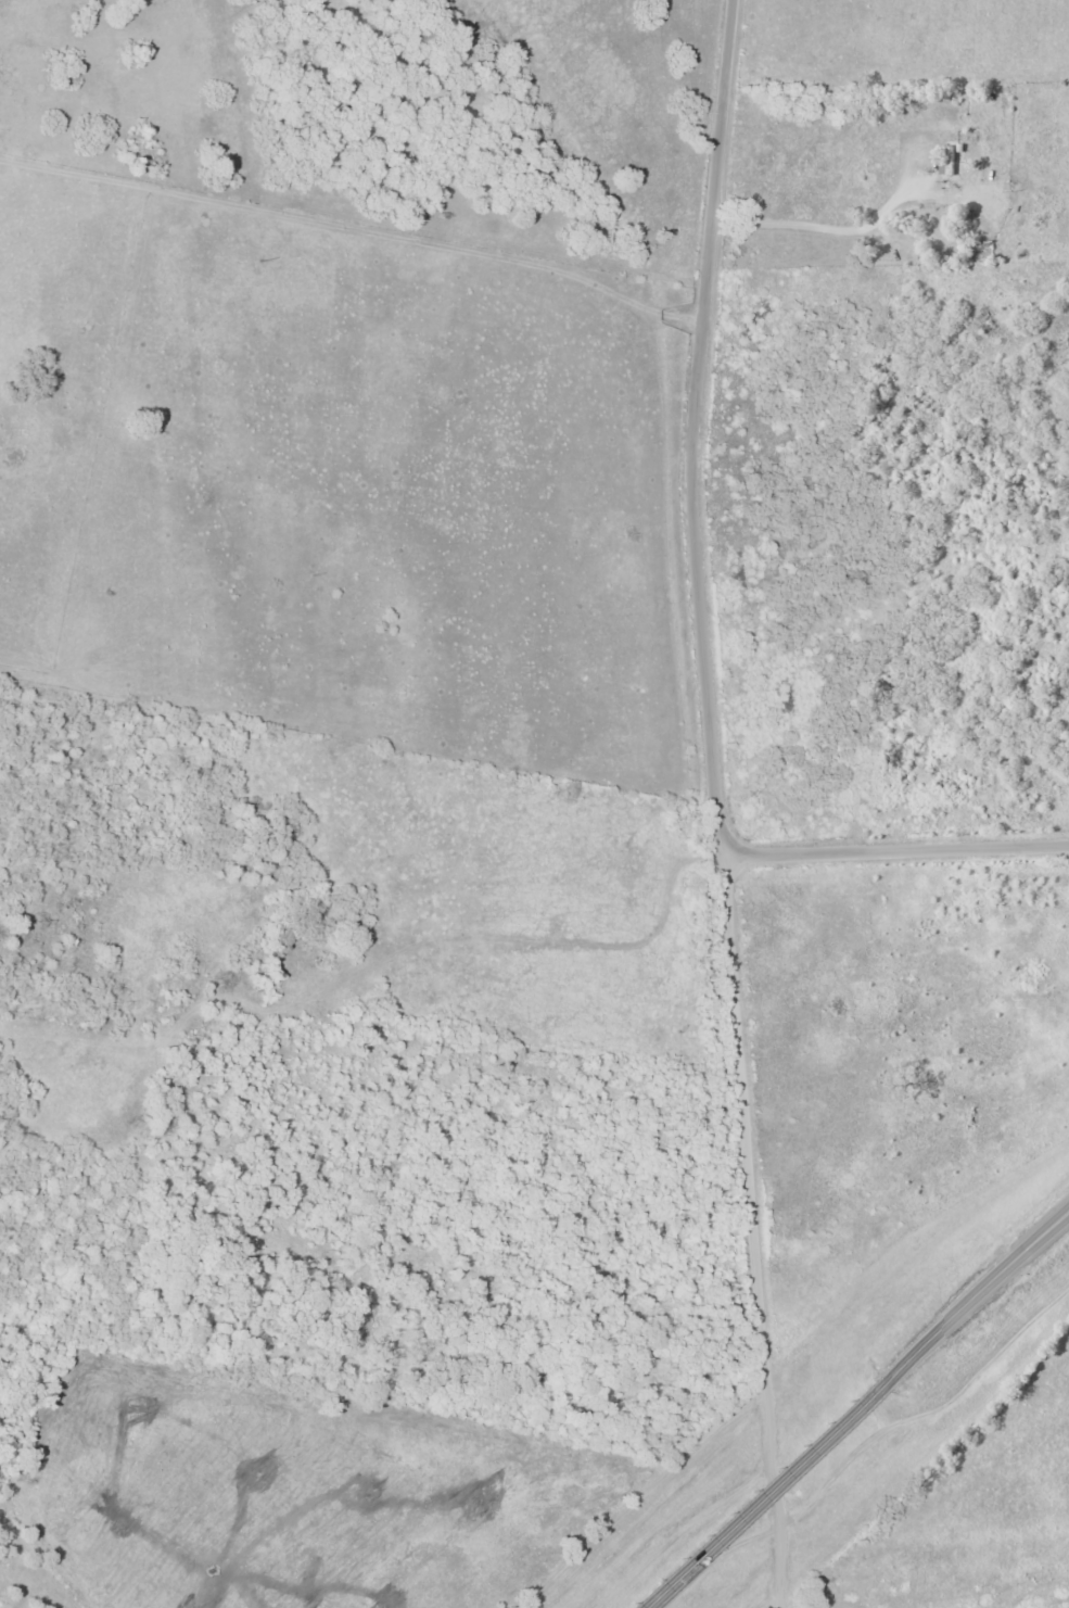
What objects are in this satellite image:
building: (949, 162)
road: (713, 721)
road: (899, 848)
road: (548, 942)
road: (978, 1302)
road: (847, 1305)
road: (627, 1425)
road: (765, 1497)
road: (991, 1562)
road: (791, 1587)

